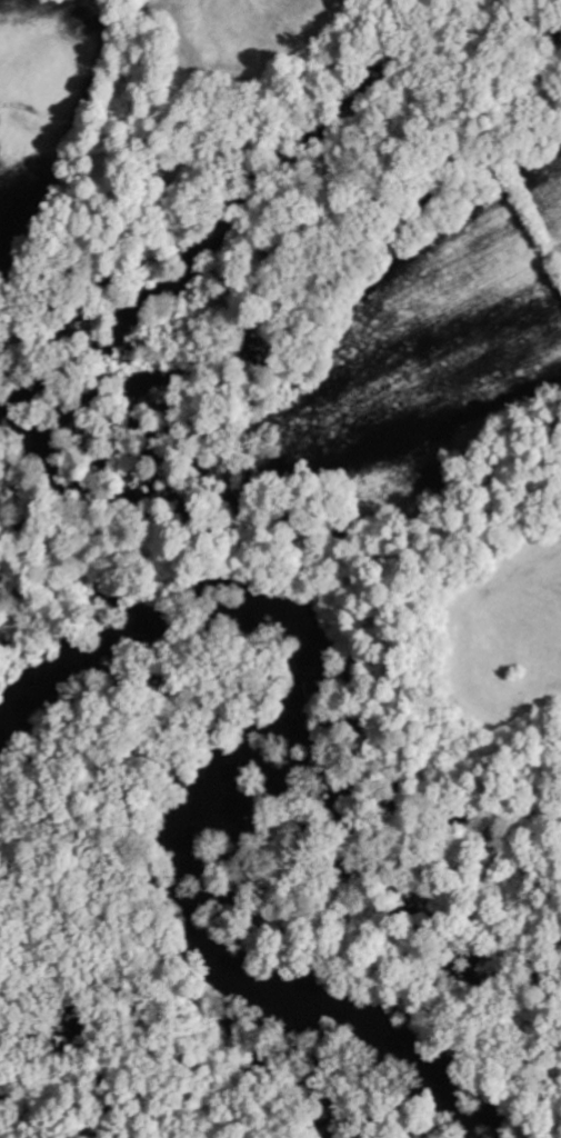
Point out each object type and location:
river: (237, 759)

